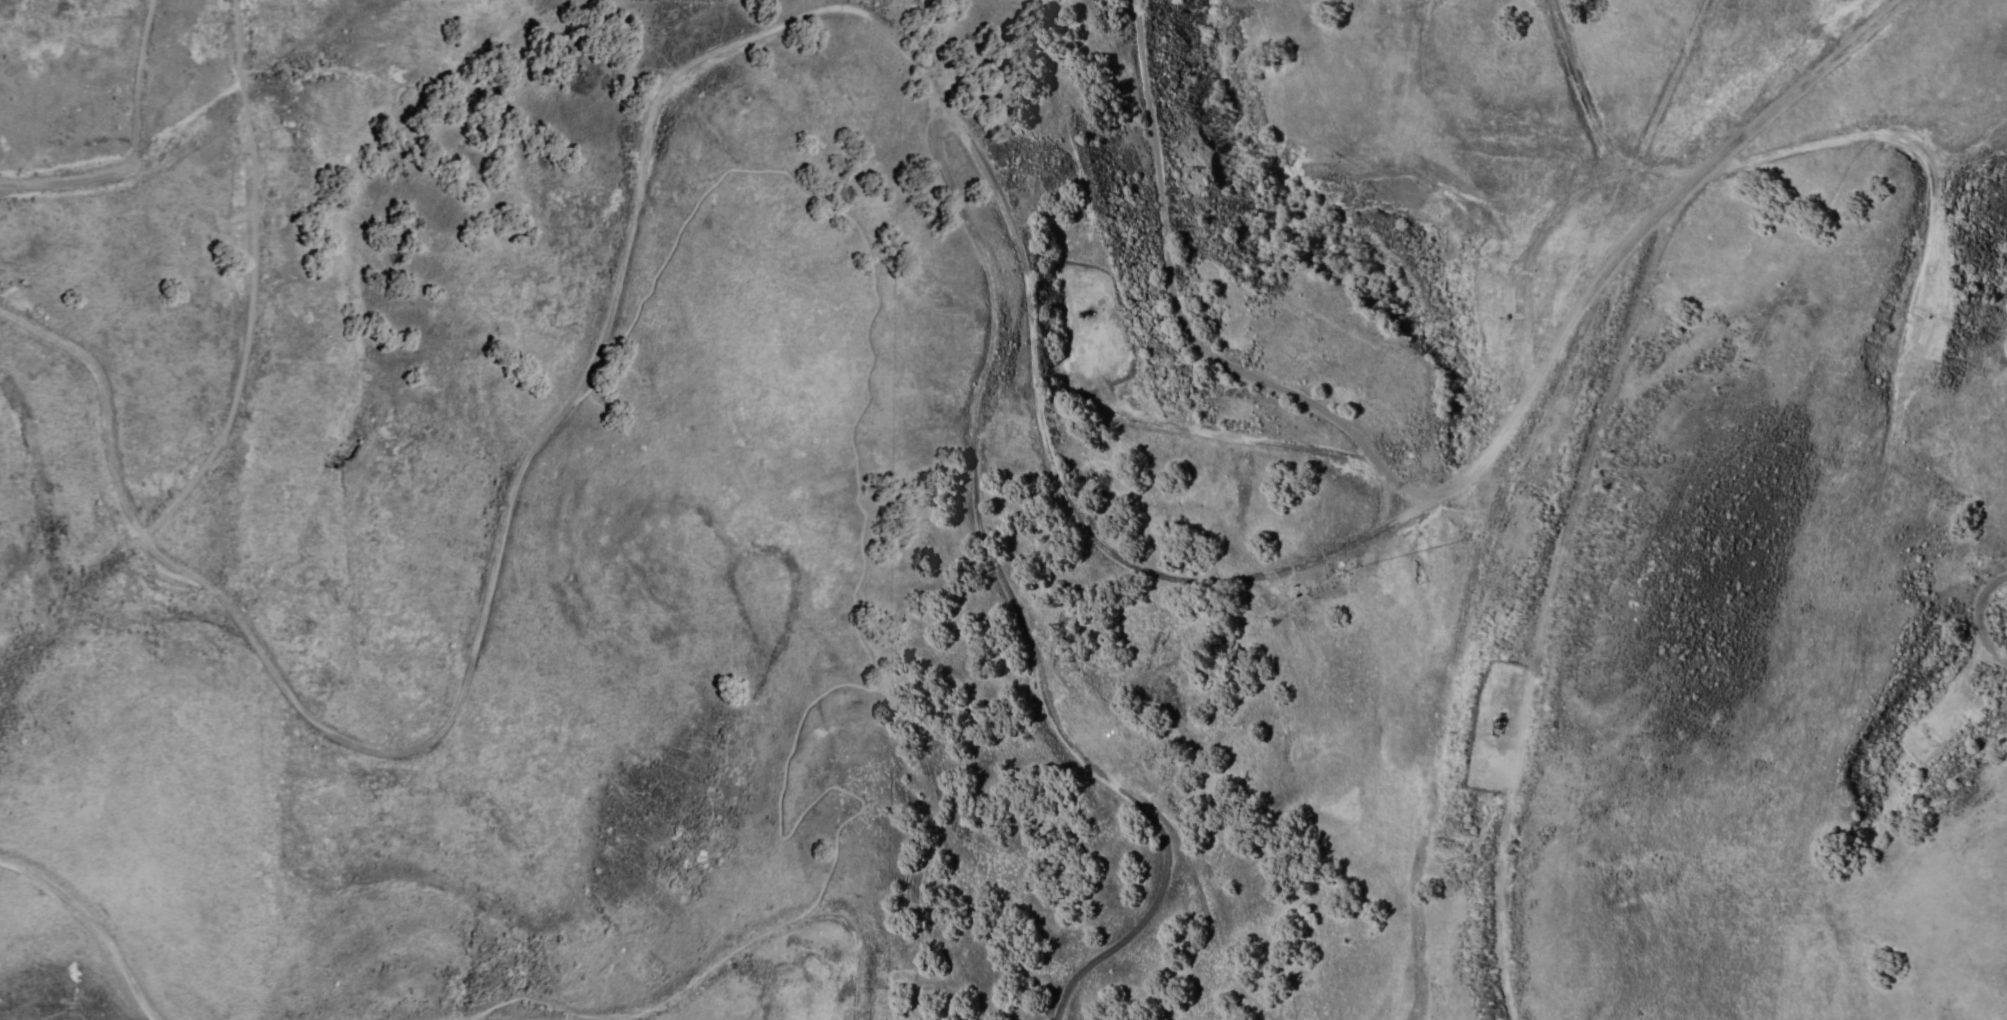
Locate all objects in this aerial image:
road: (1593, 115)
road: (1896, 135)
road: (125, 145)
road: (241, 277)
road: (1591, 287)
road: (1181, 319)
road: (1526, 361)
road: (1585, 455)
road: (1140, 567)
road: (997, 571)
road: (486, 600)
road: (1975, 616)
road: (98, 922)
road: (771, 930)

